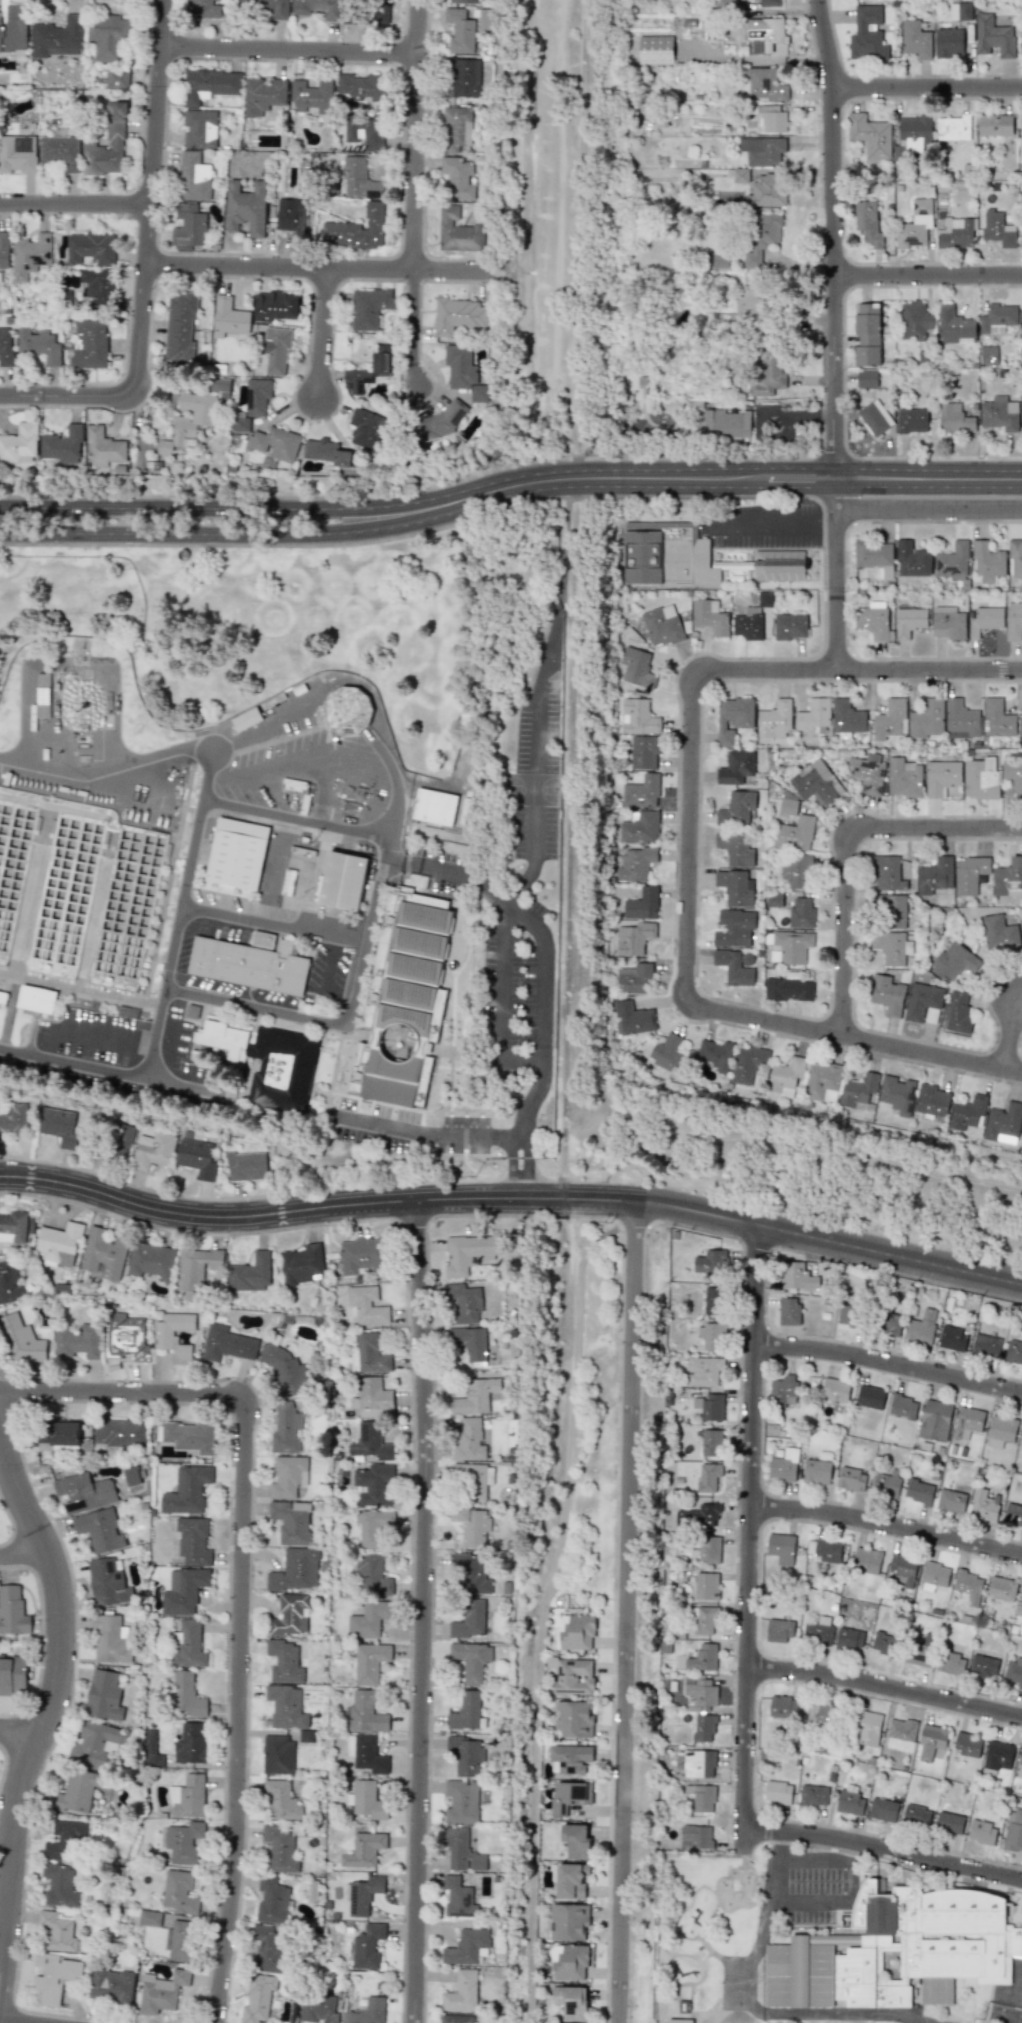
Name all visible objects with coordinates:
building: (463, 1)
building: (769, 3)
building: (726, 4)
building: (267, 7)
building: (202, 8)
building: (317, 8)
road: (785, 10)
building: (378, 11)
building: (964, 11)
building: (14, 29)
building: (460, 31)
building: (767, 34)
building: (867, 34)
building: (108, 36)
building: (993, 36)
building: (58, 37)
building: (915, 39)
building: (948, 42)
building: (1021, 43)
building: (655, 50)
road: (291, 52)
road: (754, 58)
building: (464, 77)
building: (116, 78)
building: (210, 84)
building: (761, 84)
building: (361, 86)
road: (927, 90)
building: (262, 96)
building: (311, 96)
building: (771, 117)
building: (115, 120)
building: (994, 125)
building: (952, 128)
building: (199, 129)
building: (456, 129)
building: (364, 131)
building: (915, 132)
building: (870, 135)
building: (1020, 136)
building: (762, 150)
building: (60, 152)
building: (17, 154)
building: (740, 175)
building: (193, 177)
building: (356, 177)
building: (457, 178)
building: (766, 191)
road: (415, 195)
road: (150, 198)
road: (75, 207)
building: (245, 208)
building: (288, 213)
building: (867, 222)
railway: (582, 225)
building: (915, 225)
building: (188, 227)
building: (998, 228)
building: (356, 229)
building: (457, 231)
building: (956, 232)
building: (761, 236)
building: (1020, 237)
building: (90, 247)
building: (4, 250)
building: (30, 255)
road: (320, 270)
road: (928, 278)
building: (97, 286)
building: (749, 305)
building: (276, 306)
building: (369, 307)
building: (458, 315)
building: (229, 318)
building: (997, 318)
building: (914, 320)
building: (179, 326)
building: (954, 326)
road: (834, 334)
building: (866, 334)
road: (325, 336)
building: (90, 344)
building: (39, 345)
building: (6, 347)
building: (275, 349)
building: (988, 355)
building: (367, 370)
building: (767, 371)
road: (842, 371)
building: (464, 373)
building: (866, 379)
building: (219, 386)
building: (256, 396)
road: (68, 397)
road: (785, 413)
building: (999, 414)
building: (874, 417)
building: (953, 418)
building: (188, 420)
building: (912, 420)
building: (239, 423)
building: (438, 423)
building: (725, 423)
building: (365, 428)
building: (1021, 430)
road: (786, 435)
building: (274, 443)
building: (19, 444)
building: (62, 445)
building: (103, 447)
building: (325, 452)
road: (715, 479)
road: (206, 508)
road: (766, 522)
road: (828, 522)
road: (207, 532)
building: (872, 553)
building: (667, 555)
building: (1015, 556)
building: (912, 560)
building: (952, 561)
building: (987, 562)
building: (779, 565)
road: (844, 589)
road: (569, 598)
building: (764, 599)
building: (709, 616)
building: (873, 619)
building: (984, 620)
building: (908, 621)
building: (947, 622)
building: (1013, 622)
building: (748, 624)
park: (262, 625)
building: (662, 625)
building: (790, 626)
building: (637, 668)
road: (858, 670)
building: (347, 710)
road: (277, 714)
building: (637, 716)
building: (814, 716)
building: (847, 717)
building: (733, 718)
building: (998, 718)
building: (246, 719)
building: (927, 719)
building: (774, 720)
building: (890, 720)
building: (961, 720)
building: (1021, 725)
building: (643, 752)
road: (276, 765)
road: (106, 767)
building: (736, 767)
building: (867, 773)
building: (1013, 776)
building: (903, 777)
building: (941, 777)
building: (980, 781)
building: (816, 783)
road: (272, 787)
building: (641, 792)
building: (788, 803)
building: (434, 806)
building: (737, 809)
road: (294, 817)
building: (640, 827)
building: (795, 833)
road: (690, 838)
road: (847, 847)
building: (734, 848)
building: (239, 856)
road: (534, 859)
building: (635, 864)
building: (795, 870)
road: (447, 871)
building: (887, 873)
building: (969, 874)
building: (935, 876)
building: (1008, 878)
building: (346, 883)
building: (735, 887)
building: (642, 904)
building: (893, 911)
building: (801, 913)
road: (179, 914)
road: (271, 924)
building: (733, 928)
building: (999, 933)
building: (633, 938)
building: (261, 939)
building: (792, 946)
building: (891, 947)
building: (955, 960)
road: (357, 963)
building: (248, 964)
building: (735, 966)
road: (328, 974)
building: (635, 978)
building: (788, 989)
road: (80, 990)
building: (887, 995)
building: (36, 999)
road: (500, 999)
building: (401, 1000)
building: (922, 1003)
building: (192, 1010)
road: (540, 1012)
building: (955, 1013)
building: (634, 1017)
road: (87, 1034)
road: (1010, 1035)
road: (854, 1040)
building: (668, 1054)
building: (715, 1055)
road: (166, 1057)
building: (268, 1062)
building: (748, 1064)
road: (110, 1070)
building: (786, 1077)
building: (822, 1082)
building: (897, 1094)
building: (931, 1100)
building: (967, 1113)
building: (14, 1118)
building: (1003, 1123)
building: (59, 1125)
road: (422, 1130)
building: (120, 1140)
building: (153, 1150)
building: (196, 1158)
building: (246, 1166)
road: (511, 1166)
road: (529, 1166)
road: (314, 1209)
building: (16, 1227)
road: (827, 1240)
building: (59, 1243)
building: (470, 1251)
building: (104, 1254)
building: (361, 1255)
railway: (560, 1260)
building: (151, 1261)
building: (710, 1261)
building: (301, 1265)
building: (195, 1269)
building: (250, 1273)
building: (796, 1276)
building: (9, 1282)
building: (711, 1299)
building: (464, 1302)
building: (366, 1305)
building: (788, 1311)
building: (847, 1314)
building: (890, 1320)
building: (922, 1327)
building: (174, 1335)
building: (711, 1335)
building: (951, 1338)
building: (21, 1340)
building: (78, 1341)
building: (469, 1342)
building: (227, 1343)
building: (125, 1345)
building: (986, 1345)
building: (1014, 1352)
building: (368, 1355)
road: (889, 1364)
building: (285, 1370)
building: (703, 1371)
building: (835, 1389)
building: (782, 1391)
building: (475, 1396)
building: (371, 1397)
building: (870, 1397)
building: (709, 1406)
building: (902, 1406)
building: (934, 1420)
building: (967, 1423)
building: (285, 1429)
building: (1000, 1431)
building: (119, 1432)
building: (59, 1435)
building: (189, 1436)
building: (468, 1440)
building: (1021, 1440)
building: (370, 1442)
building: (711, 1442)
building: (784, 1465)
building: (816, 1471)
building: (131, 1476)
building: (288, 1477)
building: (708, 1477)
building: (851, 1479)
building: (472, 1480)
building: (373, 1484)
building: (885, 1485)
building: (187, 1490)
building: (918, 1491)
building: (85, 1492)
building: (985, 1503)
building: (950, 1504)
building: (1013, 1514)
building: (698, 1515)
building: (291, 1521)
building: (471, 1525)
road: (887, 1525)
building: (372, 1526)
road: (750, 1527)
building: (101, 1530)
building: (193, 1541)
building: (781, 1548)
building: (709, 1549)
building: (826, 1552)
road: (26, 1558)
building: (866, 1560)
building: (296, 1570)
building: (902, 1570)
building: (372, 1573)
building: (470, 1573)
building: (934, 1576)
building: (108, 1582)
building: (706, 1585)
road: (242, 1586)
building: (968, 1586)
building: (1001, 1588)
building: (183, 1591)
building: (1018, 1601)
road: (540, 1608)
building: (12, 1610)
road: (423, 1611)
road: (624, 1611)
building: (290, 1616)
building: (368, 1619)
building: (469, 1619)
building: (702, 1620)
building: (576, 1631)
building: (778, 1631)
building: (816, 1634)
building: (848, 1639)
building: (111, 1640)
building: (883, 1643)
building: (188, 1645)
building: (920, 1650)
building: (702, 1657)
building: (471, 1660)
building: (284, 1661)
building: (369, 1662)
building: (951, 1663)
building: (983, 1666)
building: (1014, 1671)
building: (12, 1675)
building: (572, 1675)
road: (886, 1686)
building: (699, 1692)
building: (187, 1694)
building: (104, 1695)
building: (285, 1706)
building: (782, 1706)
building: (467, 1712)
building: (364, 1713)
building: (817, 1715)
building: (573, 1719)
road: (45, 1725)
road: (22, 1727)
building: (703, 1728)
building: (867, 1728)
building: (900, 1731)
building: (930, 1742)
building: (190, 1743)
building: (95, 1744)
building: (967, 1745)
building: (151, 1750)
building: (366, 1753)
building: (277, 1755)
building: (466, 1755)
building: (998, 1755)
building: (570, 1758)
building: (695, 1763)
building: (1020, 1764)
building: (778, 1792)
building: (74, 1793)
building: (813, 1795)
building: (569, 1796)
building: (188, 1797)
building: (702, 1797)
building: (280, 1800)
building: (366, 1800)
building: (461, 1801)
building: (850, 1803)
building: (882, 1809)
building: (916, 1815)
building: (949, 1822)
building: (981, 1832)
building: (1014, 1832)
building: (63, 1837)
building: (696, 1837)
building: (576, 1841)
road: (743, 1841)
building: (183, 1842)
road: (776, 1845)
road: (883, 1848)
building: (280, 1849)
building: (364, 1849)
building: (461, 1850)
road: (782, 1857)
building: (571, 1880)
building: (59, 1884)
building: (179, 1892)
building: (362, 1894)
building: (458, 1898)
road: (841, 1899)
building: (271, 1901)
building: (149, 1918)
building: (569, 1921)
building: (57, 1932)
park: (706, 1938)
building: (178, 1941)
building: (367, 1946)
building: (466, 1946)
building: (265, 1948)
building: (896, 1951)
building: (569, 1962)
building: (54, 1976)
park: (738, 1981)
building: (111, 1985)
building: (161, 1991)
building: (461, 1992)
building: (257, 1999)
building: (571, 2003)
building: (316, 2008)
building: (365, 2011)
road: (862, 2013)
building: (456, 2018)
parking lot: (995, 2020)
road: (11, 2021)
building: (679, 2021)
park: (884, 2021)

